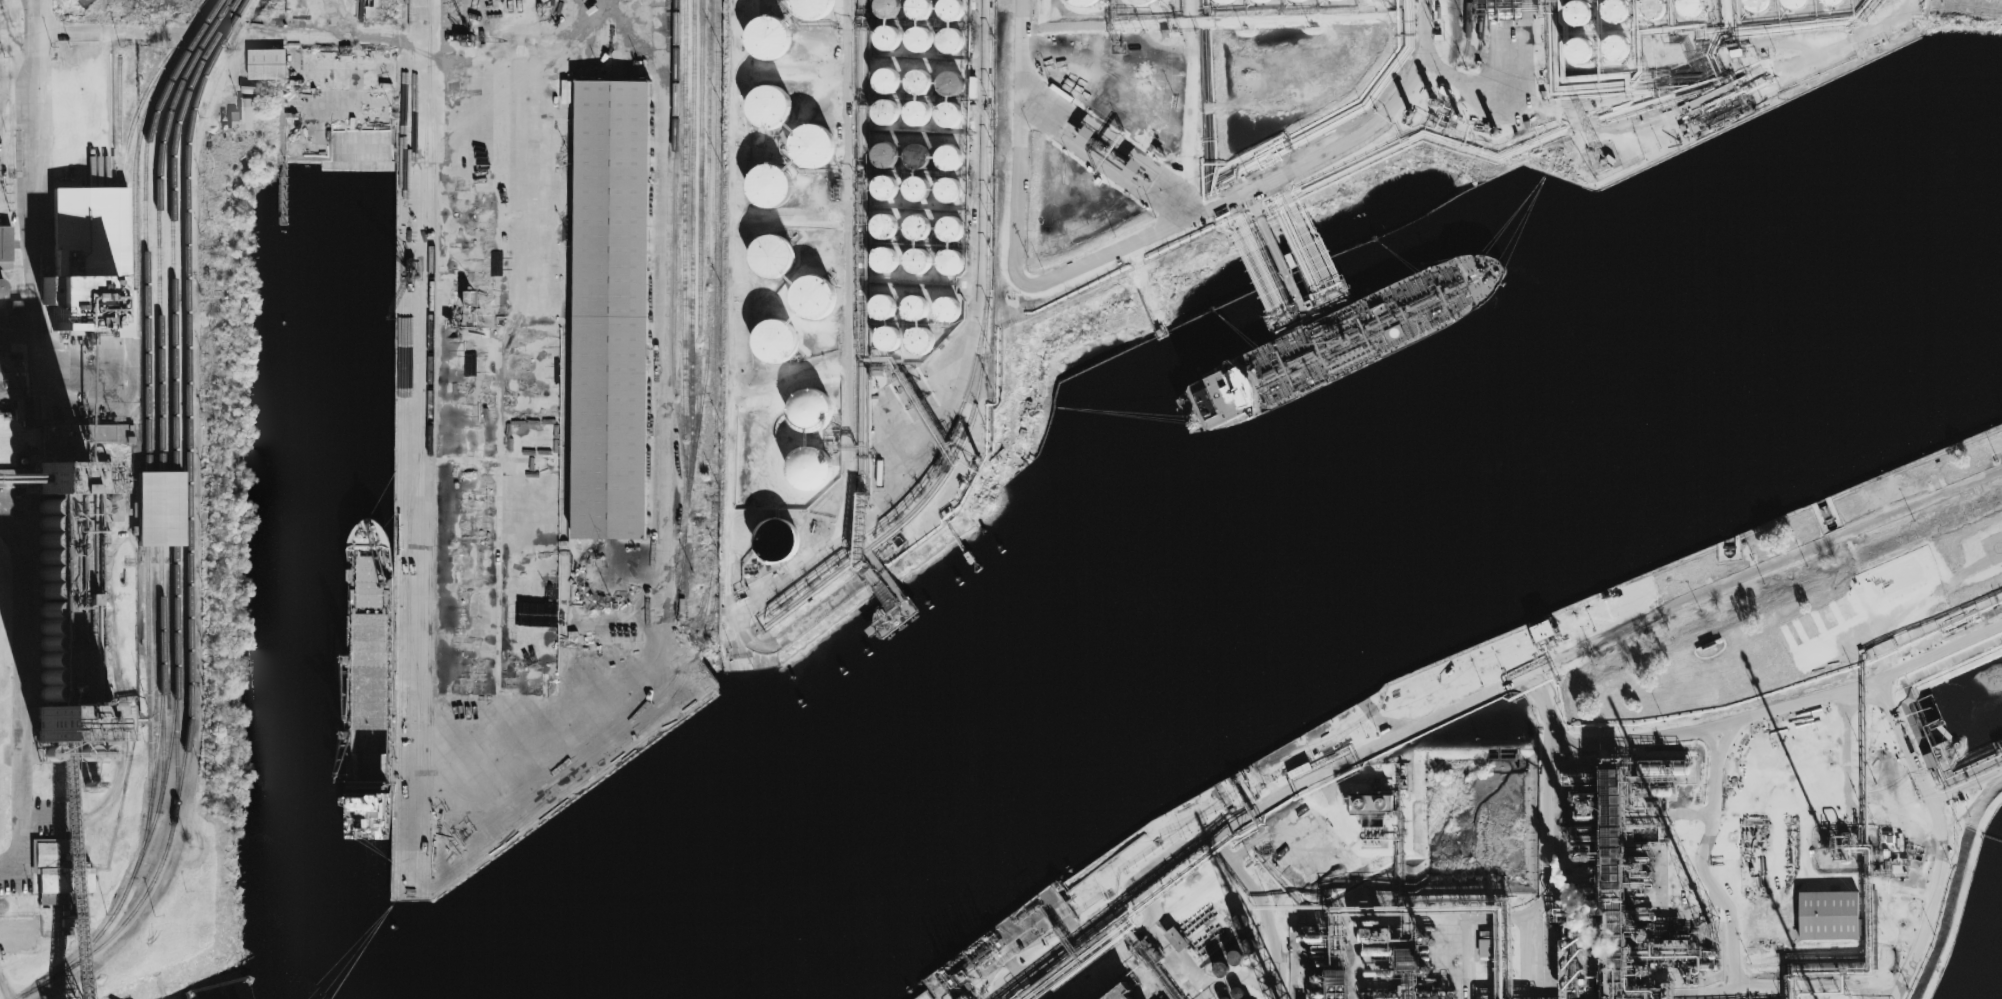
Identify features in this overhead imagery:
building: (1222, 2)
building: (1261, 2)
building: (1297, 2)
building: (1336, 2)
building: (1373, 2)
building: (1079, 3)
building: (1140, 3)
building: (1831, 4)
building: (1793, 5)
building: (807, 8)
building: (1756, 8)
railway: (427, 10)
building: (884, 10)
building: (1689, 11)
building: (917, 12)
building: (1652, 12)
building: (949, 13)
building: (1615, 15)
road: (104, 17)
road: (1307, 18)
building: (1578, 18)
railway: (1469, 27)
road: (36, 33)
road: (99, 33)
railway: (1480, 33)
road: (526, 36)
building: (765, 41)
building: (886, 41)
building: (916, 42)
building: (949, 45)
road: (1020, 45)
road: (1505, 48)
road: (14, 51)
building: (1614, 54)
building: (1577, 55)
building: (267, 64)
road: (1465, 81)
building: (883, 85)
building: (917, 86)
building: (948, 87)
railway: (145, 95)
road: (1188, 99)
road: (1721, 102)
building: (248, 113)
building: (767, 113)
building: (881, 116)
building: (915, 117)
building: (946, 119)
railway: (119, 120)
building: (233, 121)
building: (1084, 136)
railway: (137, 146)
railway: (988, 148)
building: (807, 149)
road: (1106, 150)
building: (882, 161)
building: (913, 161)
building: (947, 162)
building: (1131, 169)
building: (762, 189)
railway: (120, 192)
building: (883, 192)
building: (914, 193)
building: (946, 194)
railway: (699, 216)
railway: (716, 216)
road: (1179, 218)
railway: (145, 225)
railway: (158, 226)
railway: (171, 226)
railway: (120, 228)
building: (881, 231)
building: (916, 232)
building: (949, 233)
railway: (691, 239)
road: (38, 240)
railway: (673, 243)
building: (5, 247)
building: (770, 259)
building: (89, 261)
building: (881, 264)
building: (915, 265)
railway: (683, 266)
railway: (706, 266)
building: (950, 266)
road: (847, 267)
road: (974, 283)
building: (811, 301)
building: (611, 308)
building: (880, 311)
building: (912, 314)
building: (946, 315)
building: (10, 328)
building: (886, 342)
building: (917, 346)
building: (770, 347)
road: (729, 388)
road: (906, 395)
building: (808, 409)
railway: (426, 427)
railway: (400, 448)
railway: (408, 448)
railway: (421, 448)
building: (811, 468)
railway: (414, 478)
railway: (916, 486)
railway: (928, 493)
railway: (428, 498)
railway: (714, 500)
river: (1291, 503)
railway: (147, 508)
building: (160, 508)
railway: (161, 508)
railway: (175, 508)
road: (879, 511)
railway: (187, 514)
building: (776, 540)
railway: (683, 571)
railway: (404, 573)
railway: (713, 573)
railway: (403, 574)
railway: (705, 588)
railway: (705, 594)
building: (1542, 630)
railway: (413, 662)
railway: (175, 679)
railway: (149, 687)
road: (22, 695)
road: (1478, 700)
road: (1550, 720)
road: (1722, 724)
railway: (176, 753)
railway: (423, 756)
road: (451, 768)
railway: (547, 772)
railway: (557, 774)
road: (1919, 776)
railway: (574, 778)
railway: (162, 783)
railway: (571, 790)
railway: (151, 798)
building: (1371, 803)
railway: (519, 823)
road: (1707, 878)
building: (1828, 915)
building: (1176, 939)
building: (1485, 946)
building: (1234, 958)
building: (1220, 969)
building: (1122, 993)
building: (1052, 998)

